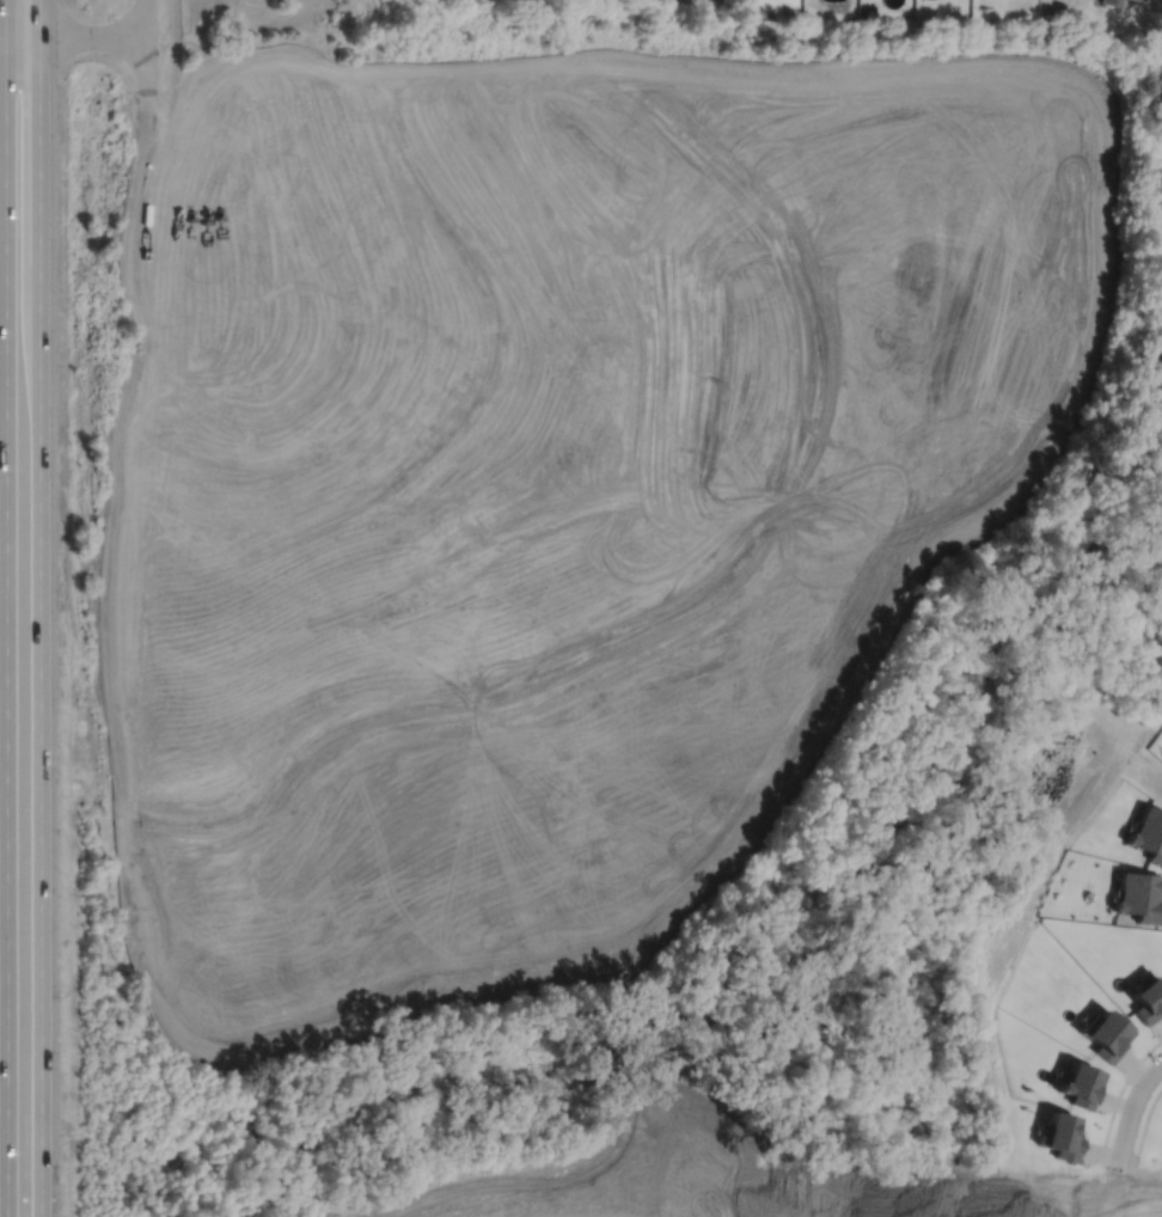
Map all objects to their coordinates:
building: (1133, 0)
building: (1111, 2)
road: (1074, 6)
road: (1044, 7)
road: (1058, 7)
road: (146, 18)
road: (2, 35)
road: (75, 36)
road: (146, 62)
road: (146, 118)
road: (39, 607)
road: (6, 608)
building: (1149, 834)
building: (1139, 897)
building: (1146, 999)
building: (1106, 1032)
building: (1080, 1081)
street lamp: (1131, 1083)
road: (1117, 1096)
road: (1130, 1109)
road: (1144, 1127)
building: (1060, 1133)

